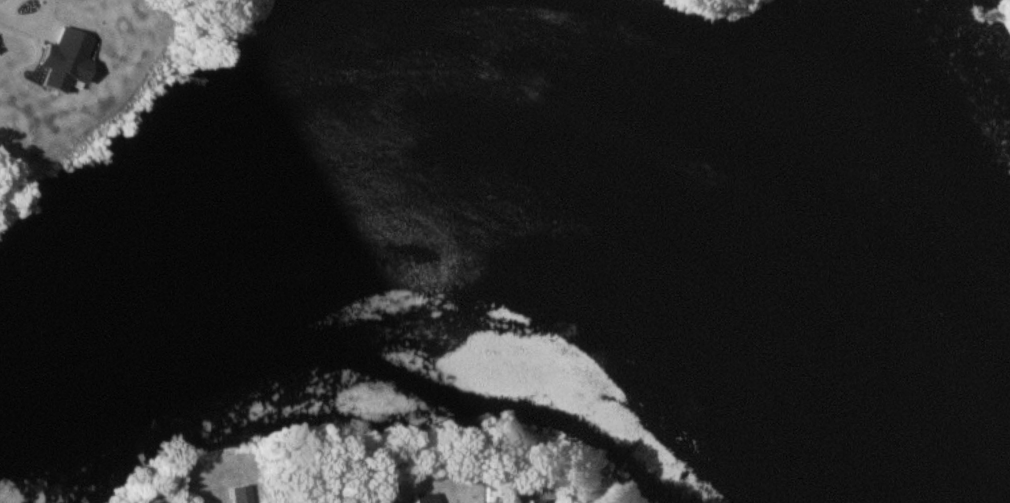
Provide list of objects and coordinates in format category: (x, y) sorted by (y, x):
river: (555, 158)

